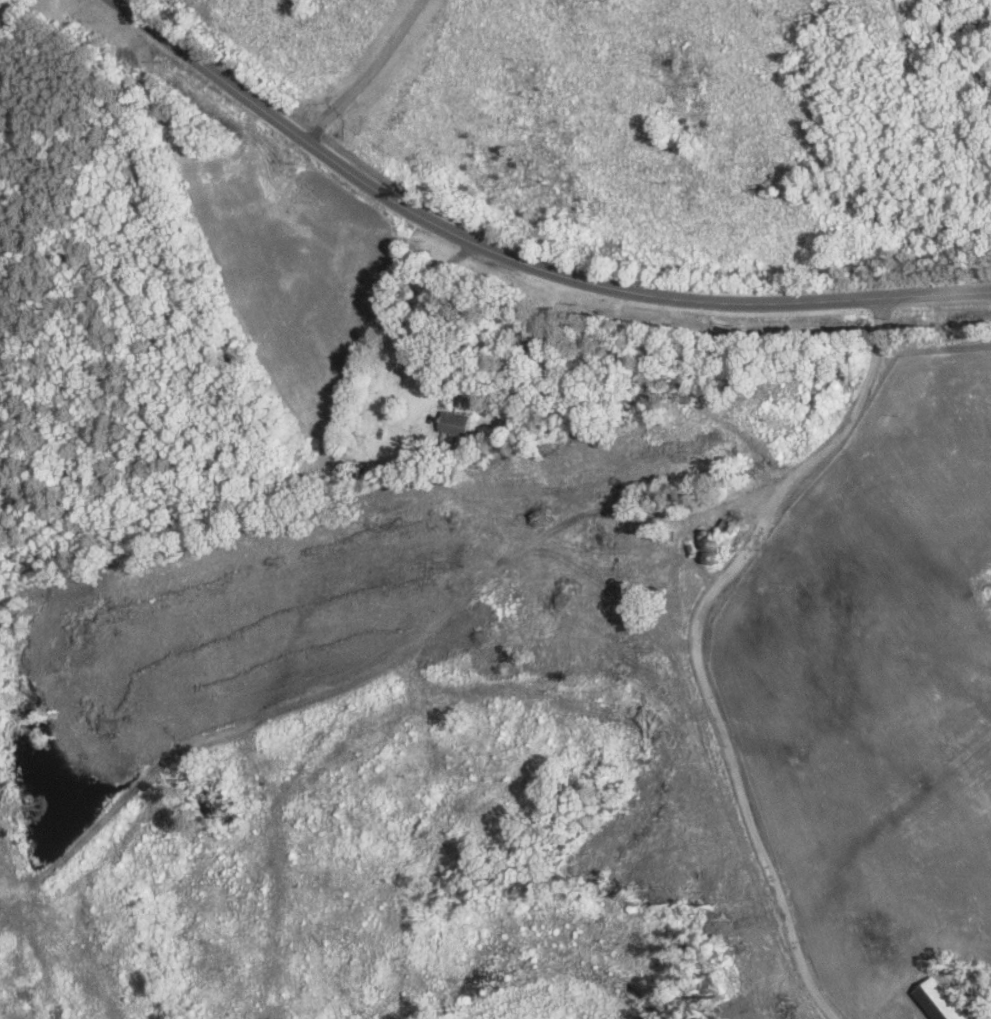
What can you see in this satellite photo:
road: (518, 247)
building: (455, 423)
building: (348, 471)
building: (729, 526)
building: (715, 552)

